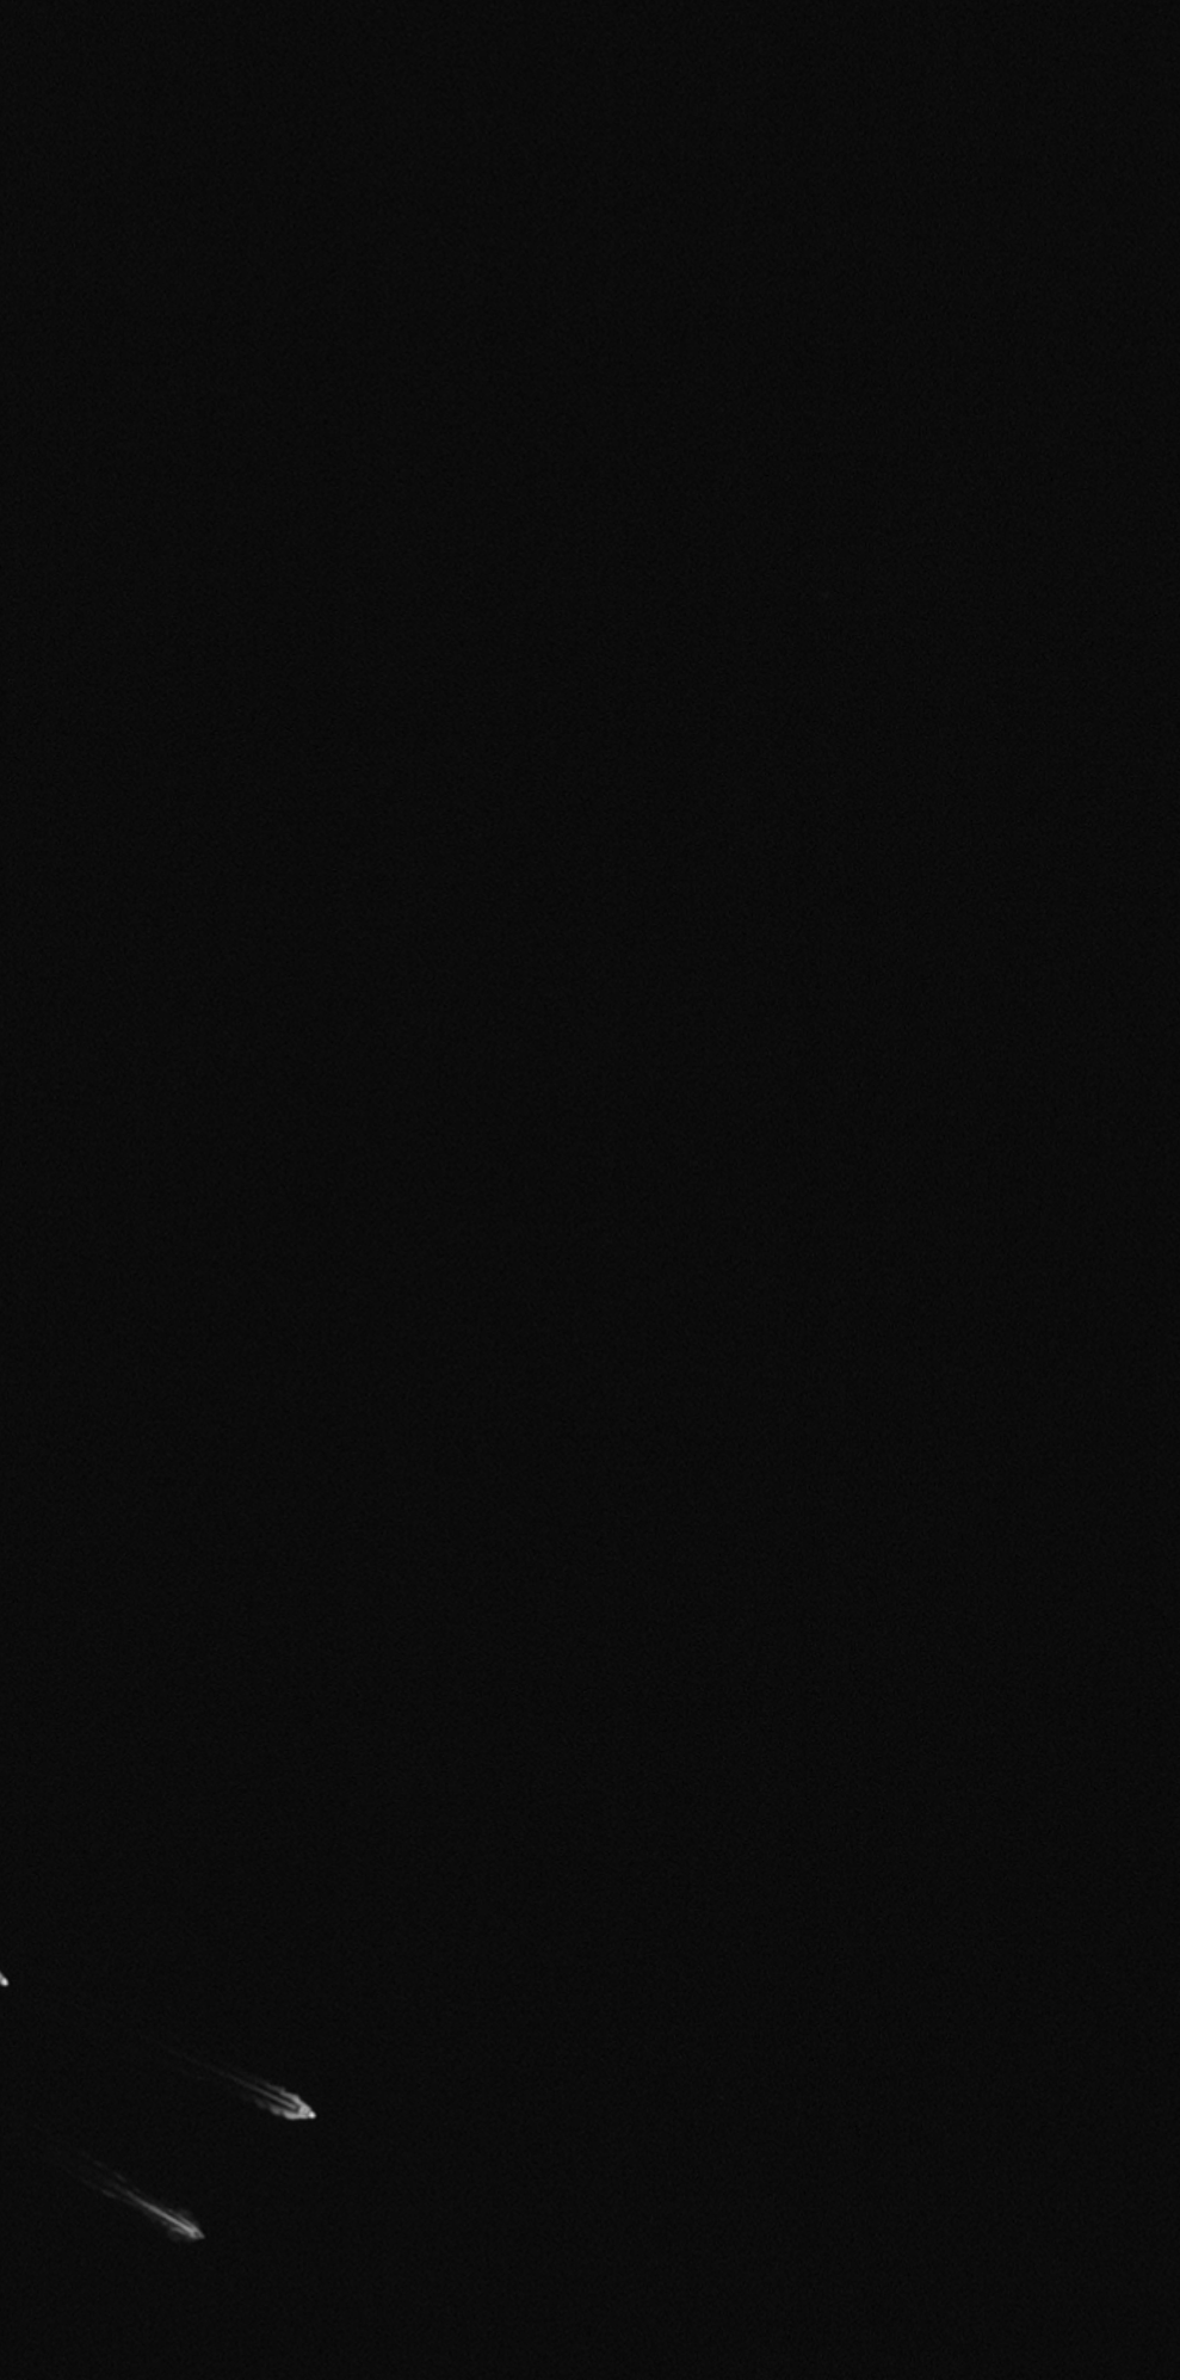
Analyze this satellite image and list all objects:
river: (396, 35)
river: (447, 35)
river: (512, 1314)

